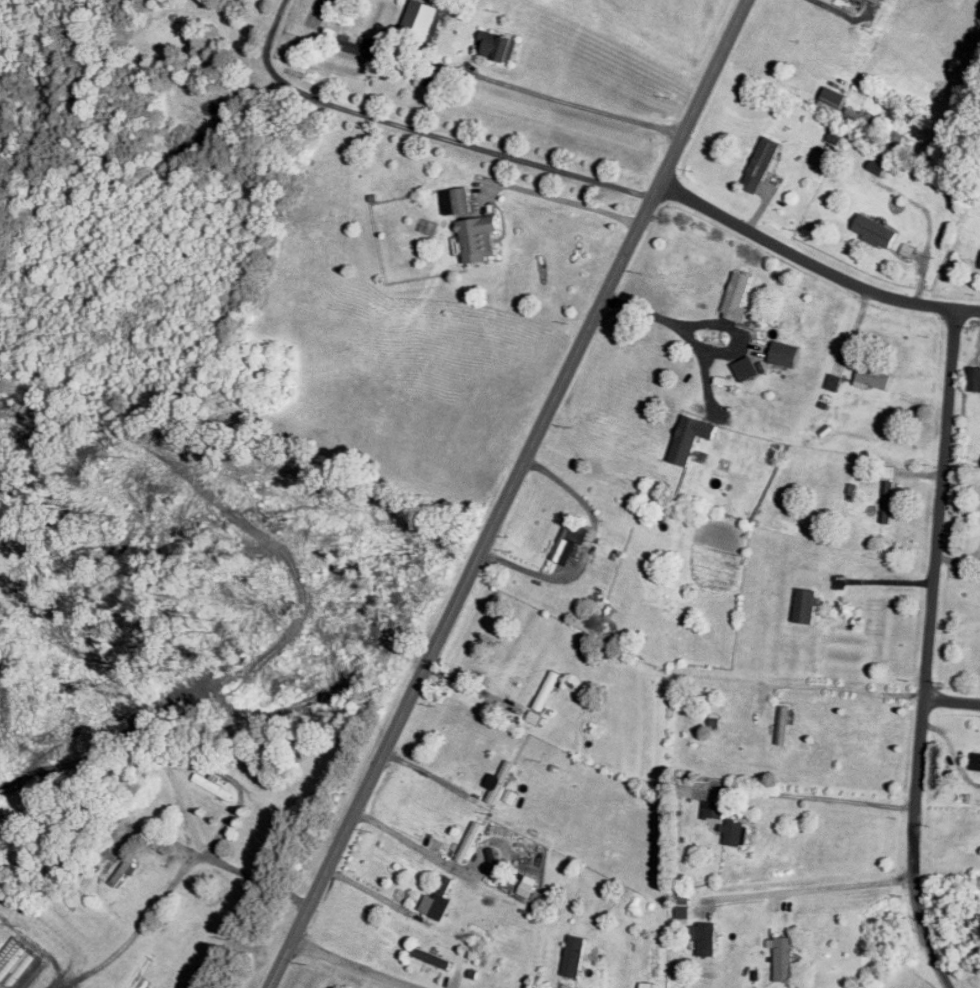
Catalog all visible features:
building: (881, 0)
road: (834, 9)
building: (498, 43)
building: (359, 44)
road: (546, 93)
road: (423, 129)
building: (763, 161)
building: (458, 198)
road: (568, 200)
building: (877, 229)
building: (479, 236)
road: (813, 264)
building: (739, 295)
road: (679, 331)
building: (787, 352)
building: (747, 366)
building: (873, 376)
building: (833, 380)
building: (692, 436)
building: (890, 470)
road: (508, 494)
building: (889, 500)
building: (571, 539)
road: (885, 579)
building: (807, 604)
road: (928, 651)
road: (472, 685)
building: (548, 689)
road: (952, 699)
building: (537, 716)
building: (784, 723)
building: (976, 760)
road: (434, 775)
building: (498, 780)
building: (213, 785)
building: (509, 794)
road: (815, 796)
building: (713, 807)
building: (734, 830)
building: (470, 840)
road: (410, 841)
building: (491, 854)
road: (172, 879)
building: (529, 884)
road: (813, 885)
building: (441, 894)
building: (705, 936)
building: (575, 954)
building: (431, 956)
building: (785, 957)
road: (355, 964)
building: (17, 966)
building: (650, 981)

